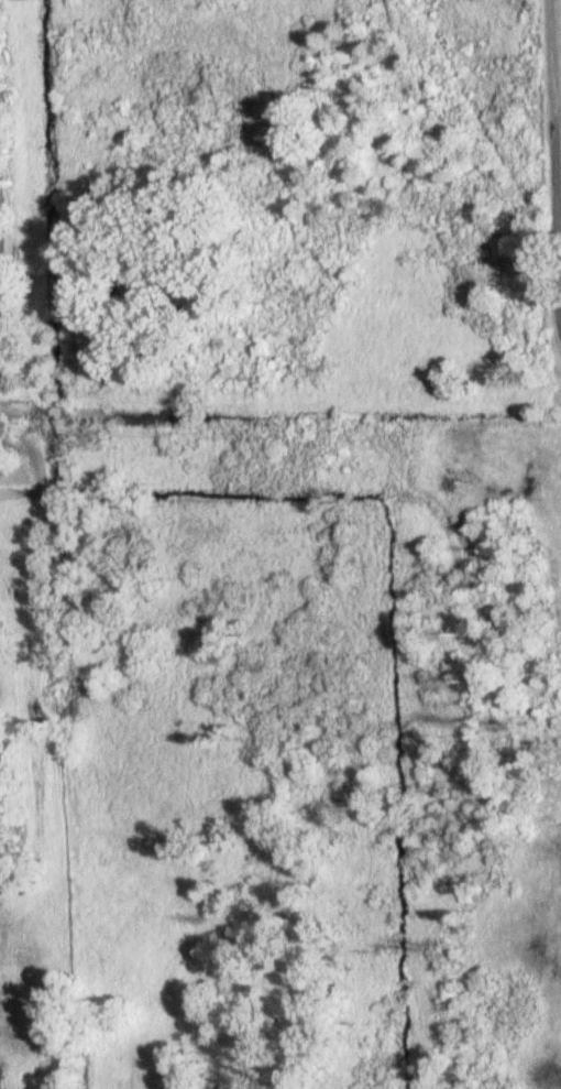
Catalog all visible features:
road: (559, 156)
road: (557, 162)

